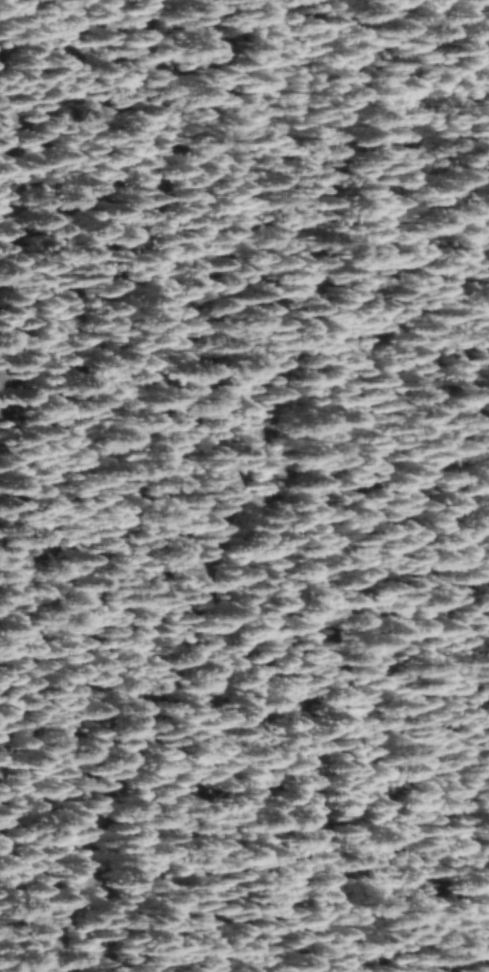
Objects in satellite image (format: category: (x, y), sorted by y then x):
road: (255, 504)

